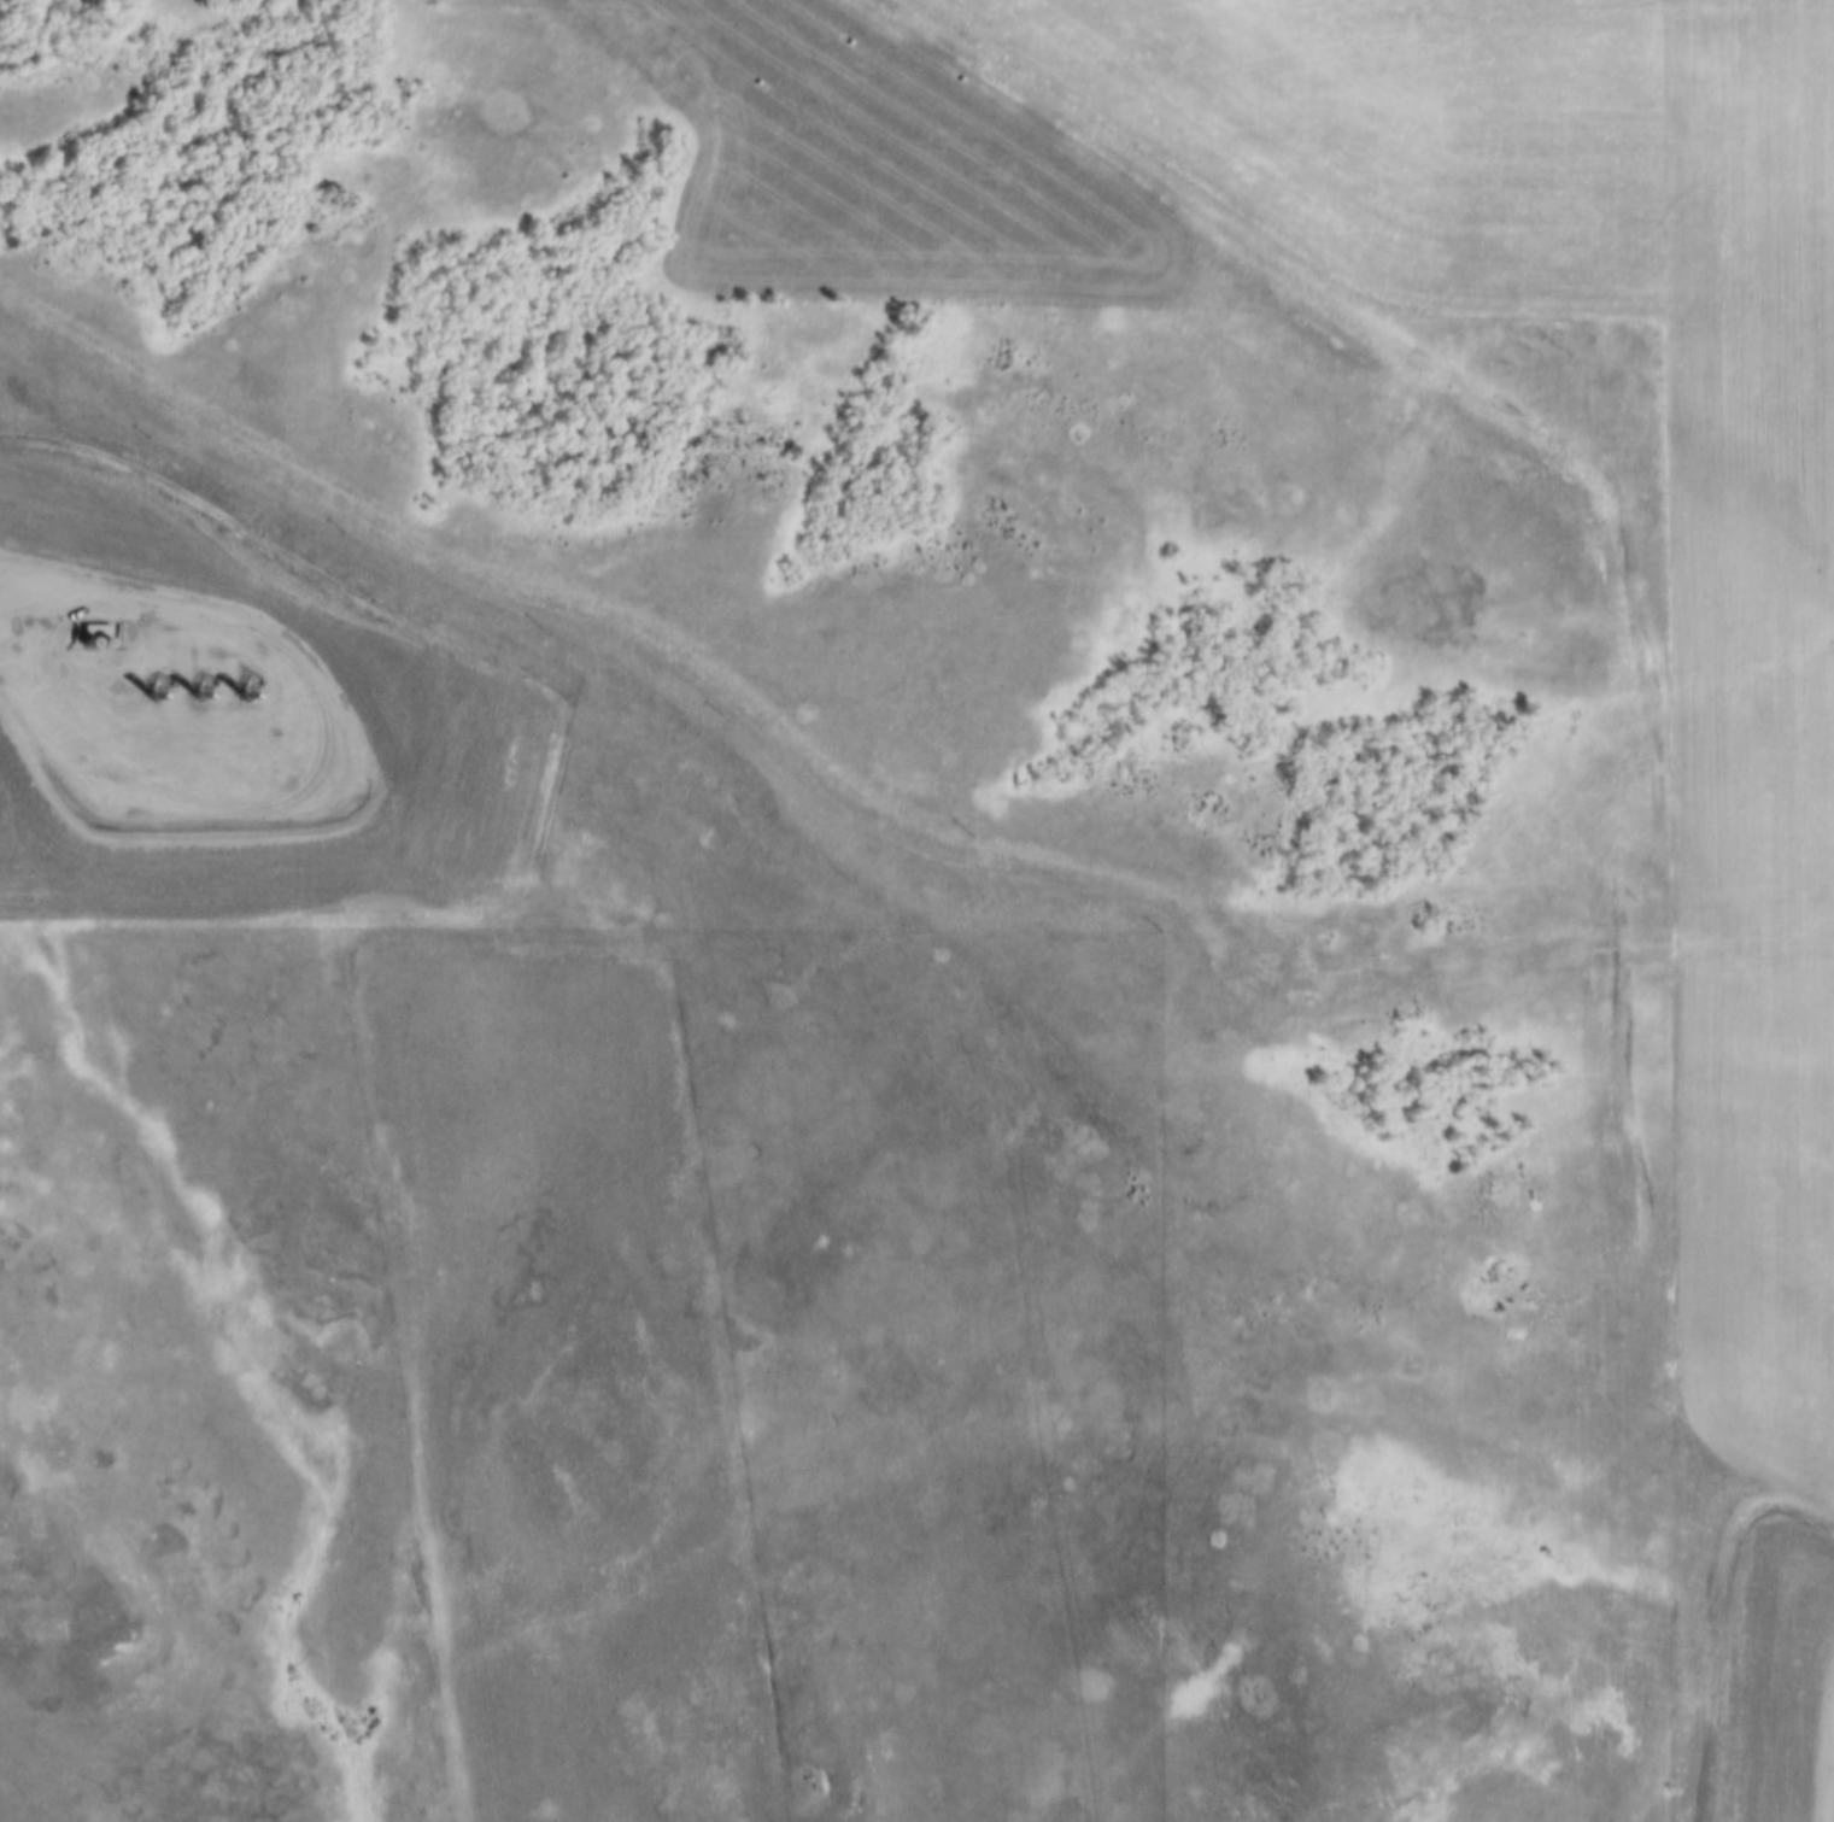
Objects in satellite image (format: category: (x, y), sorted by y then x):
road: (281, 684)
petroleum well: (195, 687)
petroleum well: (148, 689)
petroleum well: (239, 689)

